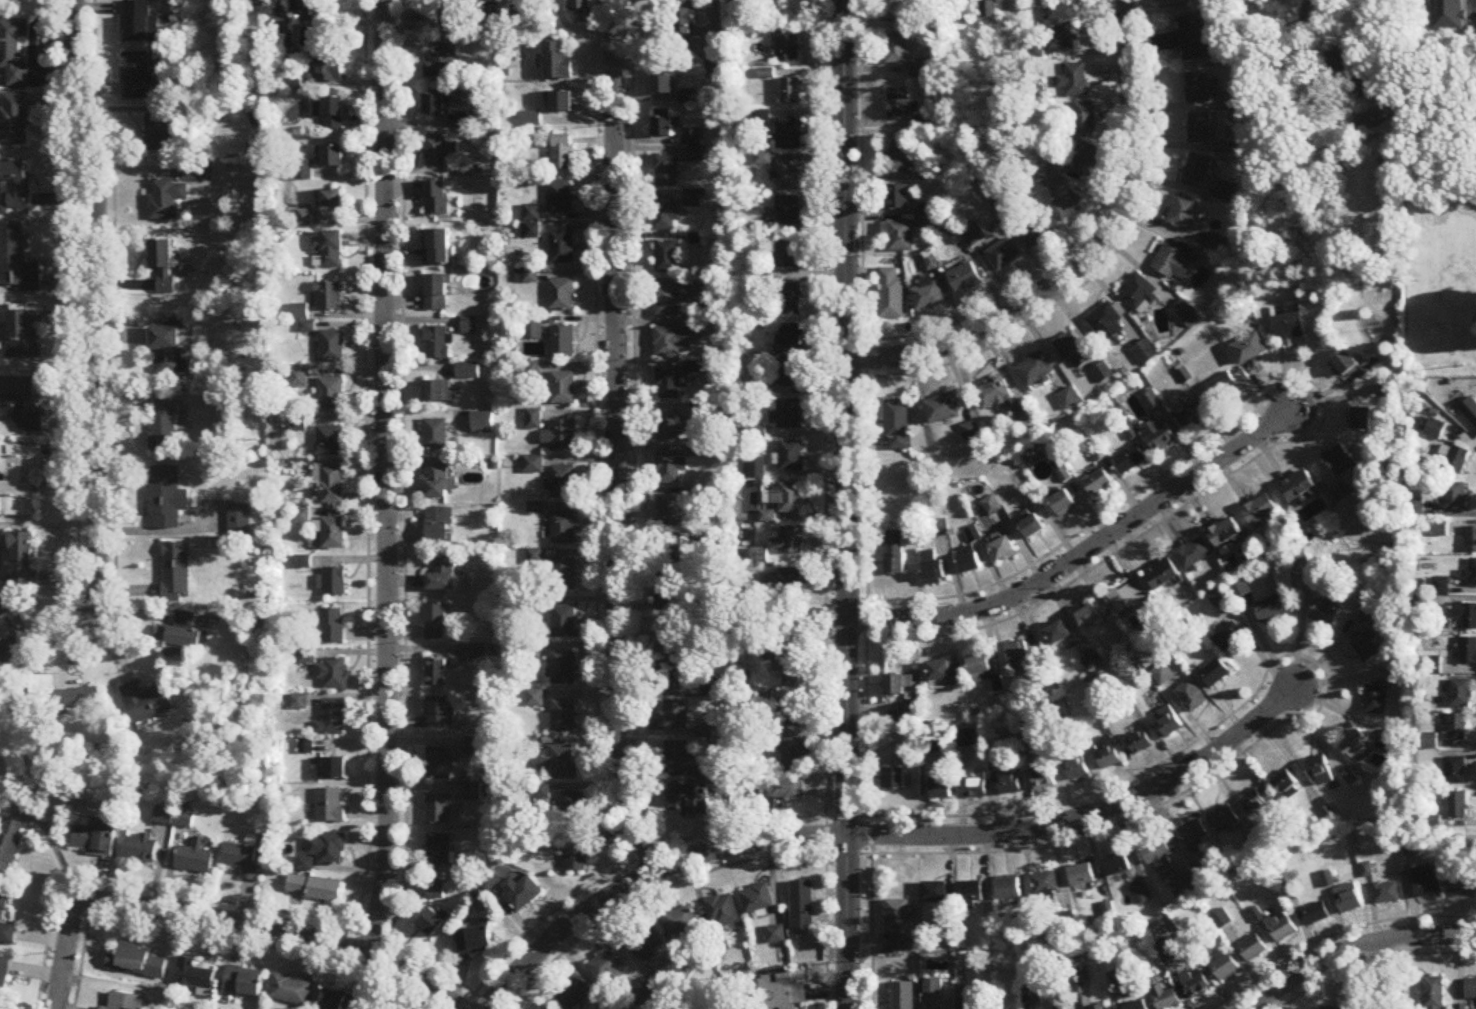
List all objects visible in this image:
building: (305, 8)
building: (449, 10)
building: (582, 10)
building: (987, 10)
building: (1447, 16)
building: (687, 21)
building: (140, 23)
building: (1061, 28)
building: (1194, 39)
building: (284, 44)
building: (788, 49)
building: (897, 49)
building: (441, 61)
building: (557, 62)
building: (1343, 63)
building: (327, 69)
building: (919, 69)
building: (140, 76)
building: (1075, 80)
building: (662, 85)
building: (1201, 89)
building: (792, 92)
building: (686, 98)
building: (1230, 101)
road: (1320, 101)
building: (560, 102)
building: (899, 103)
building: (16, 105)
building: (437, 105)
building: (330, 112)
building: (763, 118)
building: (1085, 118)
building: (665, 127)
building: (1199, 130)
building: (160, 134)
building: (790, 134)
building: (692, 145)
building: (1223, 148)
building: (436, 151)
building: (563, 153)
building: (330, 157)
building: (900, 158)
building: (1086, 160)
building: (304, 171)
building: (665, 171)
building: (1051, 171)
building: (1196, 171)
building: (789, 177)
building: (1222, 192)
building: (560, 197)
building: (897, 197)
building: (166, 199)
building: (436, 199)
building: (331, 200)
building: (1063, 203)
building: (789, 212)
building: (665, 214)
building: (1187, 215)
building: (925, 221)
building: (1037, 232)
road: (1080, 234)
building: (974, 236)
building: (900, 237)
building: (1217, 245)
building: (439, 247)
building: (562, 248)
building: (332, 250)
road: (1089, 254)
building: (788, 255)
building: (1003, 255)
building: (667, 257)
road: (1108, 261)
building: (1173, 263)
building: (163, 265)
building: (964, 279)
building: (438, 293)
building: (890, 294)
building: (926, 294)
building: (1139, 294)
building: (562, 295)
building: (330, 297)
building: (790, 300)
building: (667, 301)
road: (96, 311)
building: (1182, 312)
building: (1106, 323)
building: (1290, 323)
building: (471, 326)
building: (792, 337)
building: (563, 342)
building: (670, 343)
building: (438, 344)
building: (333, 347)
building: (165, 349)
building: (1249, 349)
building: (1072, 352)
building: (1146, 353)
building: (1344, 366)
building: (1035, 371)
building: (469, 372)
building: (791, 373)
building: (1103, 373)
building: (668, 384)
building: (1221, 388)
building: (563, 389)
building: (439, 392)
building: (333, 395)
building: (993, 396)
building: (1069, 400)
building: (1150, 401)
road: (1322, 401)
building: (941, 410)
building: (1024, 414)
building: (788, 416)
building: (1193, 417)
building: (1361, 420)
building: (483, 423)
building: (1475, 423)
building: (896, 427)
building: (22, 428)
building: (165, 428)
building: (1432, 429)
building: (670, 430)
building: (970, 432)
building: (436, 436)
building: (560, 436)
road: (615, 436)
building: (1158, 436)
building: (331, 442)
building: (791, 457)
building: (1458, 459)
building: (1130, 460)
building: (1340, 461)
building: (668, 468)
building: (755, 469)
road: (386, 477)
building: (438, 481)
building: (562, 483)
building: (1098, 483)
building: (332, 485)
building: (1301, 488)
building: (167, 490)
building: (1342, 493)
building: (1456, 496)
building: (789, 499)
road: (824, 504)
road: (846, 504)
road: (865, 504)
building: (1064, 505)
building: (670, 510)
building: (1261, 511)
building: (439, 526)
building: (1032, 528)
building: (563, 529)
building: (939, 529)
building: (1226, 533)
building: (333, 534)
building: (1471, 540)
building: (788, 541)
building: (1003, 550)
building: (670, 553)
building: (894, 554)
road: (1083, 554)
building: (1194, 554)
building: (969, 564)
building: (176, 572)
building: (934, 574)
building: (1163, 575)
building: (1471, 575)
building: (564, 576)
building: (442, 577)
building: (334, 582)
building: (786, 585)
building: (1240, 589)
building: (668, 590)
building: (1128, 596)
building: (1270, 610)
building: (1325, 613)
building: (1465, 615)
building: (1094, 616)
building: (564, 622)
building: (436, 623)
building: (793, 625)
building: (333, 626)
building: (673, 632)
building: (1058, 635)
building: (181, 636)
building: (1229, 637)
building: (1366, 648)
building: (1468, 651)
building: (1025, 658)
building: (1431, 666)
building: (564, 669)
building: (980, 670)
building: (792, 671)
building: (436, 673)
building: (333, 674)
building: (670, 674)
building: (943, 674)
building: (1215, 674)
building: (1163, 675)
building: (899, 686)
building: (1460, 694)
building: (58, 696)
building: (1191, 698)
road: (1323, 698)
building: (535, 699)
building: (1375, 701)
building: (147, 702)
building: (440, 712)
building: (674, 715)
building: (792, 715)
building: (564, 716)
building: (332, 719)
building: (1168, 723)
building: (1457, 728)
building: (1430, 742)
building: (1025, 744)
building: (1140, 744)
building: (1357, 748)
building: (793, 755)
building: (1108, 755)
building: (675, 757)
building: (910, 757)
building: (561, 764)
building: (438, 765)
building: (333, 770)
building: (1077, 771)
building: (1456, 772)
building: (1322, 777)
building: (1043, 780)
building: (894, 781)
building: (1010, 787)
building: (780, 789)
building: (941, 790)
building: (976, 790)
building: (1289, 790)
building: (472, 794)
building: (690, 799)
building: (1257, 801)
building: (1458, 806)
building: (330, 807)
building: (574, 809)
building: (438, 811)
road: (846, 817)
building: (185, 820)
building: (1223, 821)
road: (886, 835)
building: (1192, 835)
building: (93, 841)
building: (11, 843)
building: (141, 849)
road: (57, 851)
building: (438, 851)
building: (323, 852)
building: (573, 852)
building: (1159, 857)
building: (195, 859)
building: (242, 860)
building: (1117, 866)
building: (1082, 876)
building: (1201, 876)
building: (491, 881)
building: (1427, 883)
building: (1462, 884)
building: (1046, 885)
building: (1184, 887)
building: (314, 889)
building: (1009, 889)
building: (436, 891)
building: (521, 893)
building: (937, 893)
building: (1386, 894)
building: (971, 896)
building: (1142, 896)
building: (757, 900)
building: (1348, 900)
building: (802, 906)
building: (722, 912)
building: (1316, 916)
building: (681, 922)
building: (431, 924)
building: (899, 925)
building: (1281, 929)
road: (277, 931)
building: (775, 935)
road: (1334, 936)
building: (473, 941)
building: (645, 942)
building: (7, 946)
building: (1253, 950)
road: (66, 954)
road: (1350, 954)
building: (136, 962)
road: (1370, 962)
building: (608, 969)
building: (1226, 970)
building: (194, 977)
road: (1383, 977)
building: (244, 982)
building: (933, 986)
building: (1196, 986)
building: (783, 988)
building: (1471, 990)
building: (291, 991)
building: (573, 993)
building: (1434, 994)
building: (903, 996)
building: (1166, 998)
building: (339, 1001)
building: (129, 1002)
building: (1138, 1006)
building: (102, 1008)
building: (396, 1008)
building: (1099, 1008)
building: (1332, 1008)

